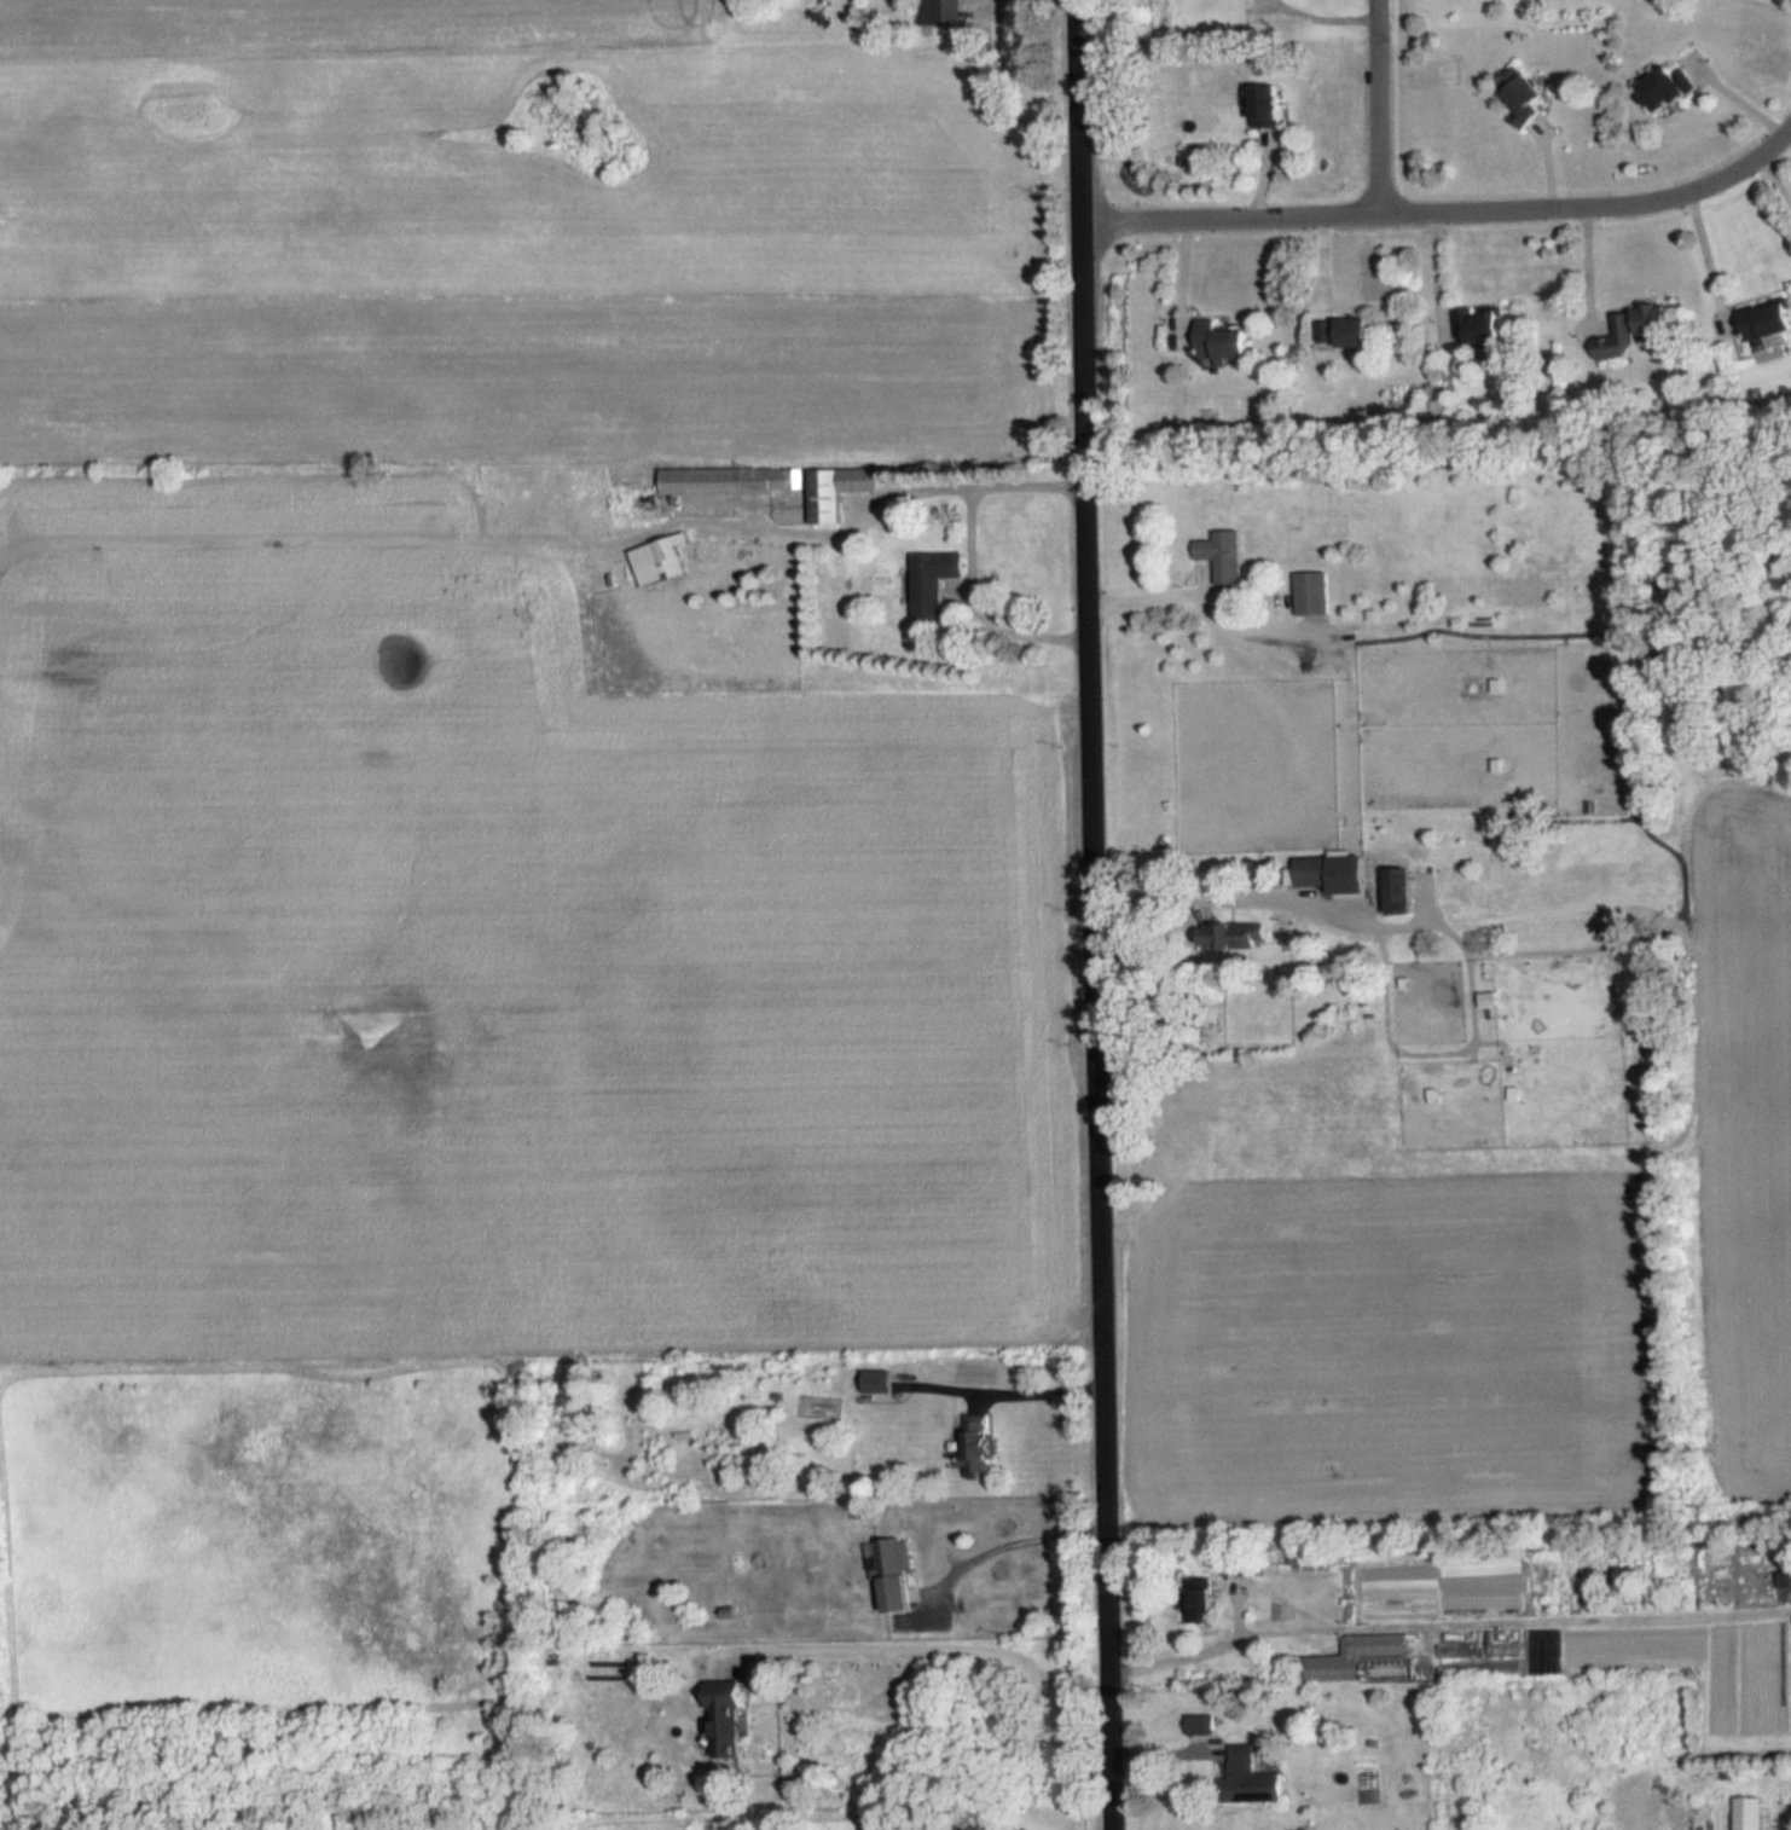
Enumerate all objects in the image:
building: (939, 12)
building: (1676, 83)
building: (1526, 97)
building: (1273, 105)
road: (1378, 106)
road: (1775, 179)
road: (1448, 210)
road: (1710, 251)
building: (1479, 324)
building: (1767, 325)
building: (1635, 329)
building: (1346, 335)
building: (1223, 342)
building: (732, 481)
building: (837, 491)
road: (854, 516)
building: (1225, 555)
building: (660, 562)
building: (935, 580)
building: (1314, 593)
road: (1153, 598)
road: (979, 600)
road: (1238, 890)
road: (1095, 915)
building: (879, 1382)
road: (1031, 1386)
building: (981, 1444)
road: (1014, 1536)
building: (1784, 1571)
building: (894, 1576)
building: (1201, 1602)
road: (1433, 1617)
road: (961, 1650)
building: (1355, 1656)
building: (728, 1719)
building: (1200, 1724)
building: (1254, 1771)
building: (1750, 1812)

